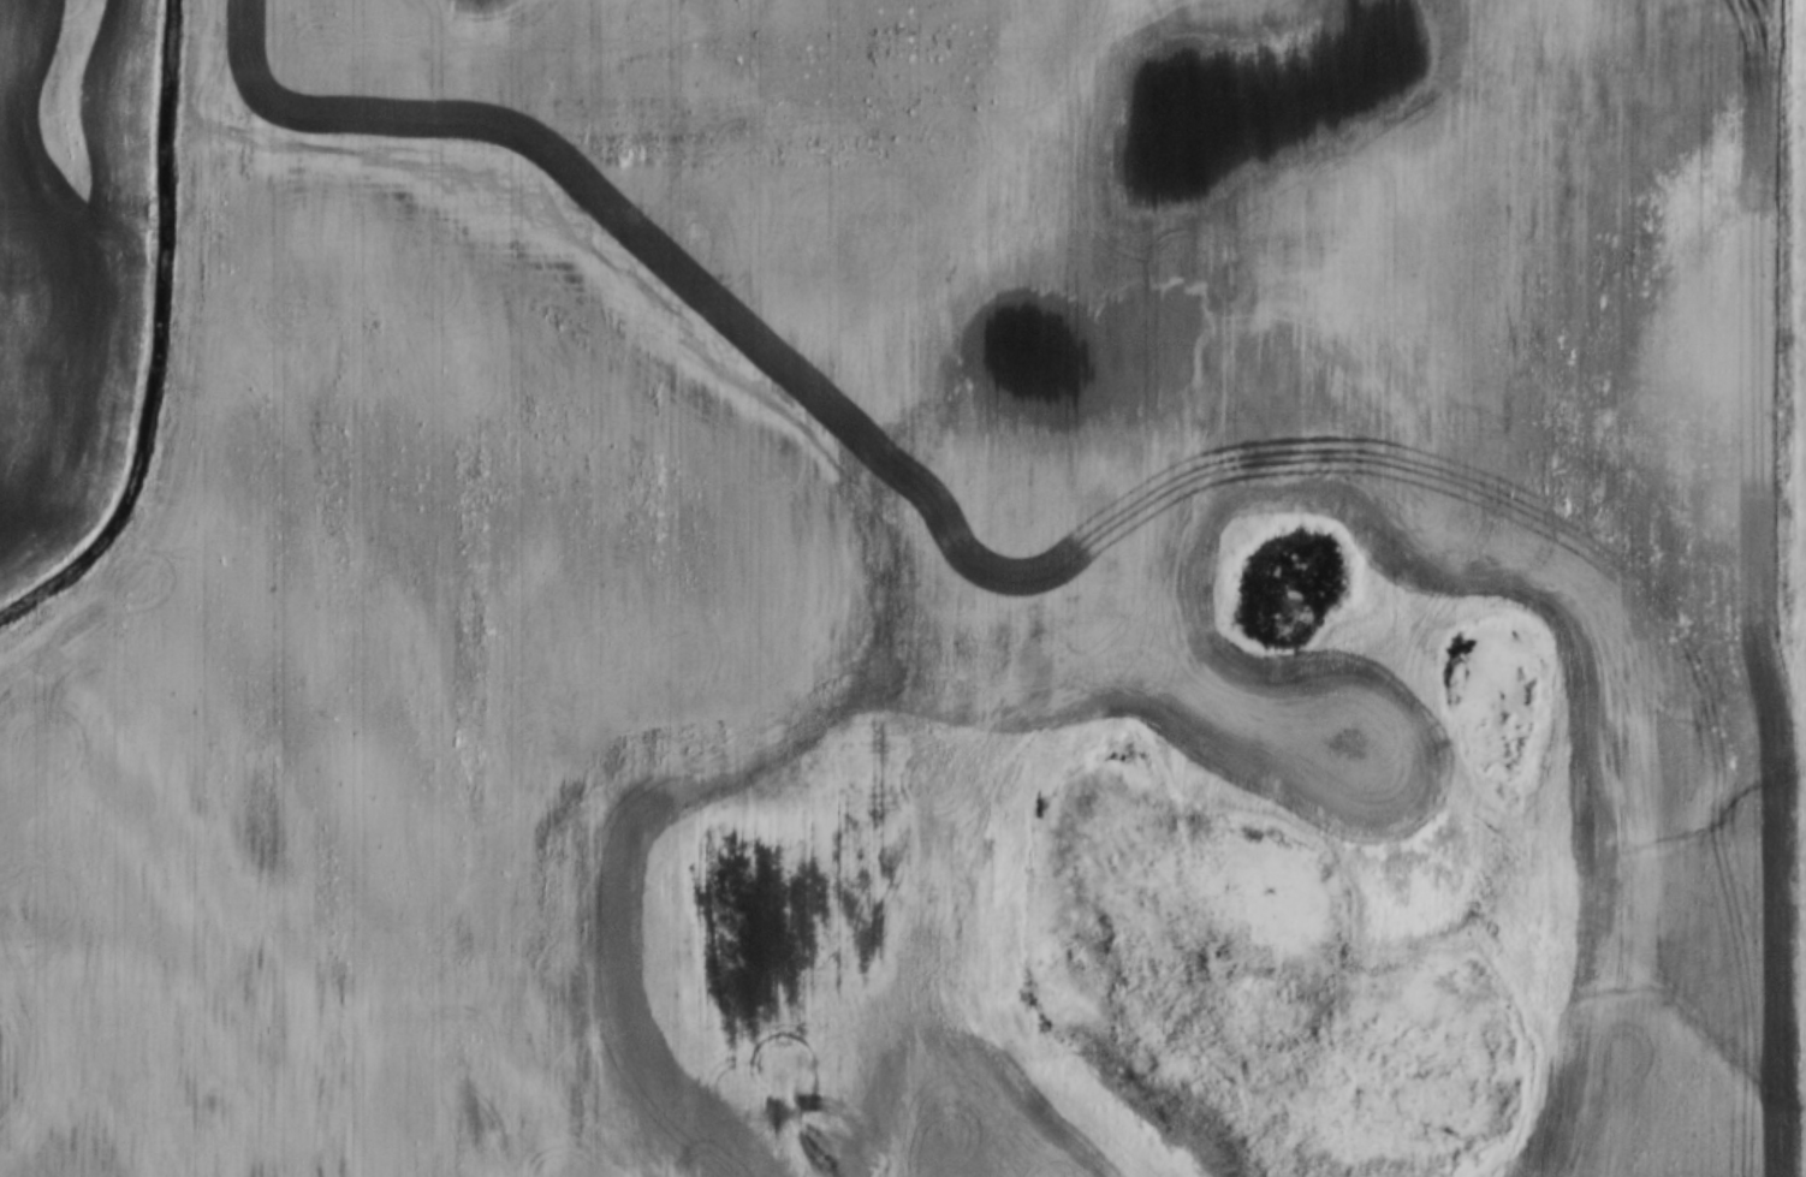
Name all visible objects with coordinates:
river: (142, 326)

